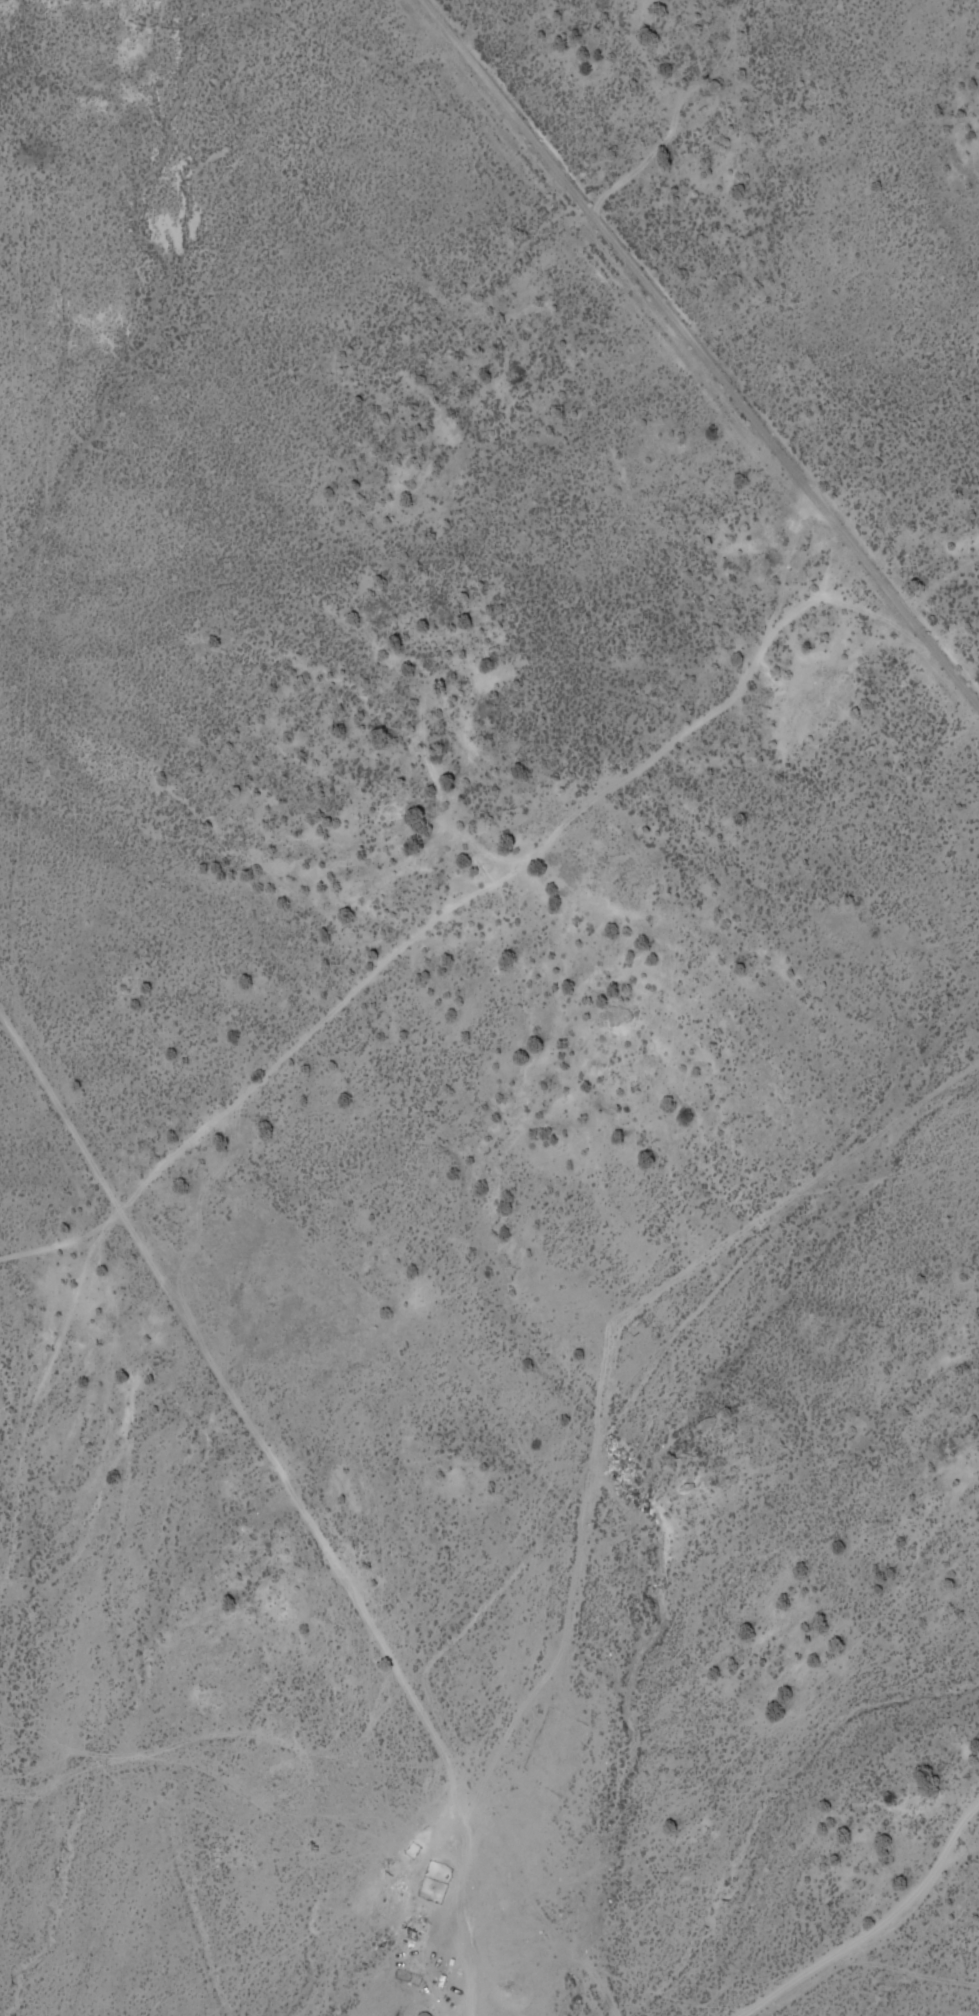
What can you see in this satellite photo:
road: (689, 375)
road: (287, 1051)

